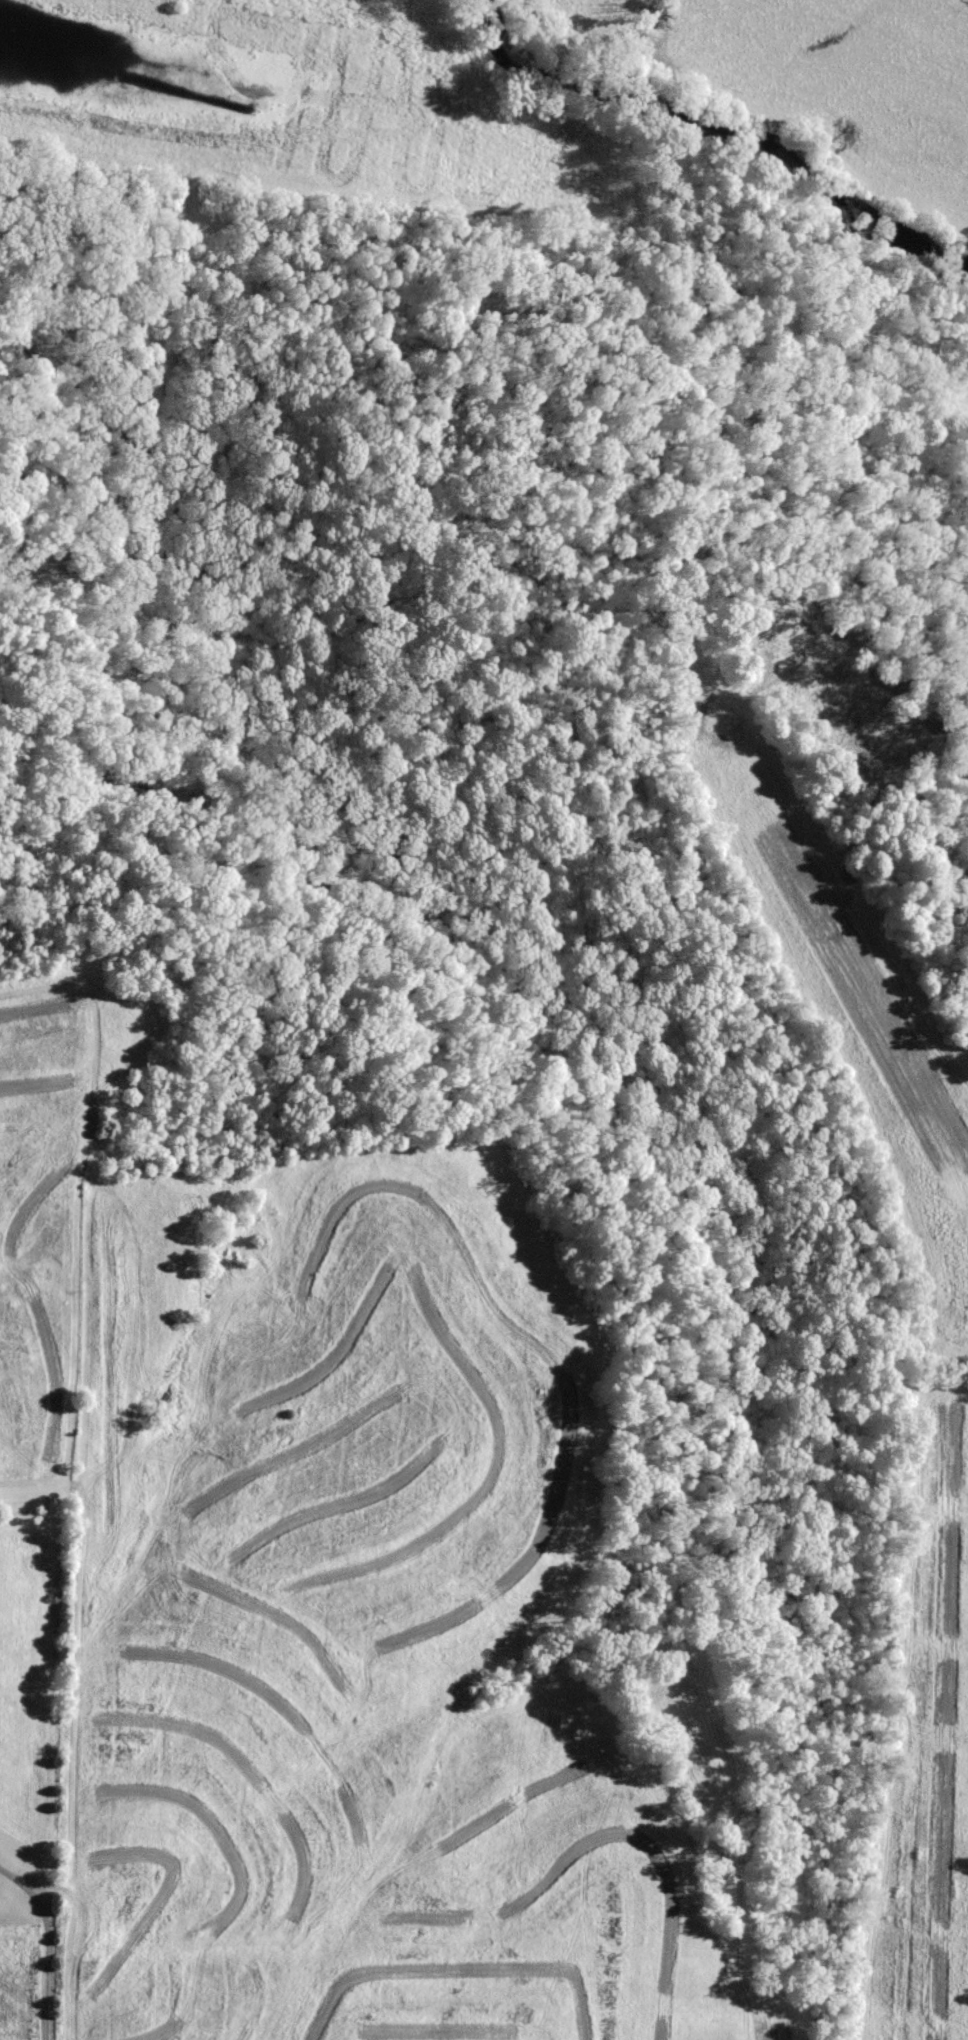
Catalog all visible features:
road: (51, 1937)

